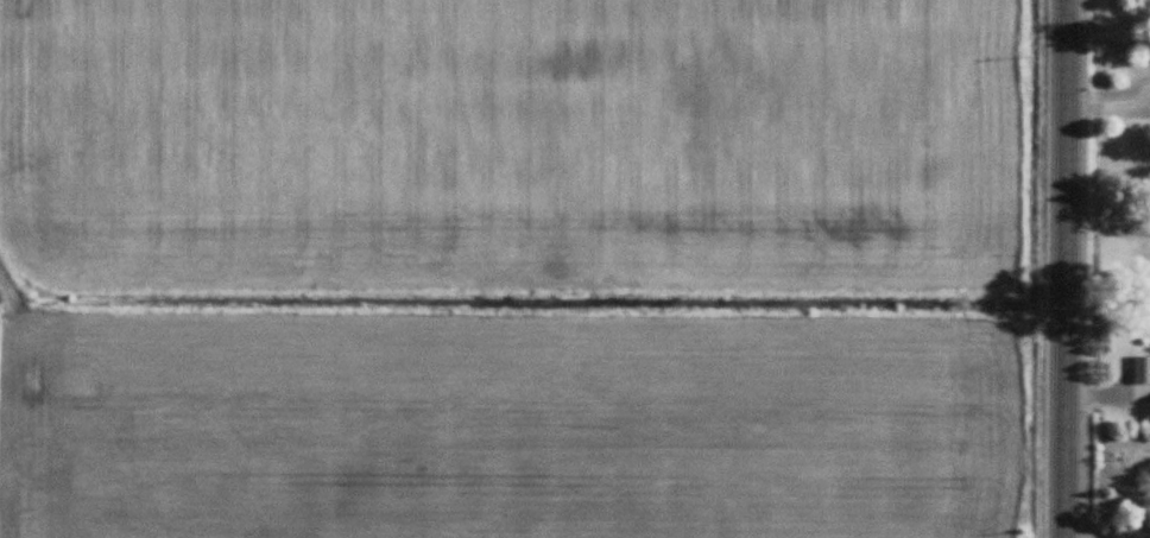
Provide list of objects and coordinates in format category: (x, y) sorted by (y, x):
road: (1107, 223)
road: (1064, 268)
building: (1142, 371)

